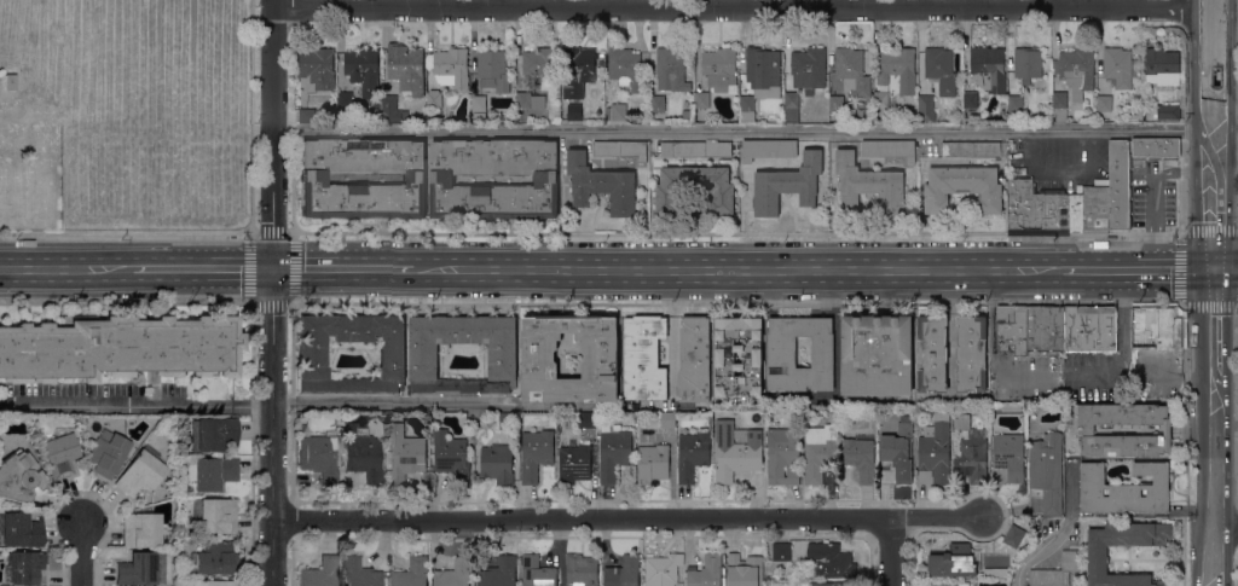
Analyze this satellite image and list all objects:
road: (1214, 2)
road: (742, 5)
road: (1214, 31)
building: (540, 62)
building: (1028, 63)
building: (578, 65)
building: (1118, 65)
building: (317, 66)
building: (624, 66)
building: (1161, 66)
building: (406, 68)
building: (452, 68)
building: (719, 68)
building: (988, 68)
building: (363, 69)
building: (671, 69)
building: (808, 69)
building: (492, 70)
building: (1076, 70)
building: (852, 71)
building: (939, 71)
building: (895, 74)
building: (760, 75)
road: (1214, 80)
building: (10, 82)
building: (434, 98)
building: (702, 99)
building: (970, 99)
building: (345, 100)
building: (530, 100)
road: (1226, 101)
building: (479, 103)
building: (658, 103)
building: (835, 103)
building: (1014, 103)
building: (1104, 103)
building: (792, 105)
building: (1059, 106)
building: (926, 108)
building: (391, 109)
building: (574, 111)
building: (615, 111)
building: (1168, 111)
building: (687, 115)
building: (307, 116)
road: (744, 130)
building: (1155, 147)
building: (621, 149)
building: (695, 149)
building: (768, 149)
building: (890, 149)
building: (971, 149)
parking lot: (1059, 163)
building: (361, 179)
building: (444, 179)
building: (788, 184)
building: (868, 184)
building: (1118, 184)
road: (1214, 184)
building: (601, 185)
building: (961, 187)
building: (1078, 187)
building: (695, 188)
parking lot: (1153, 191)
building: (1025, 204)
building: (1095, 207)
building: (1063, 210)
road: (735, 233)
road: (242, 234)
road: (1180, 267)
traffic signals: (1214, 267)
road: (1226, 267)
road: (66, 268)
road: (202, 268)
traffic signals: (273, 269)
road: (343, 269)
road: (814, 269)
road: (272, 292)
road: (177, 301)
road: (1105, 301)
road: (289, 302)
road: (430, 302)
road: (815, 302)
road: (1213, 319)
building: (1153, 326)
building: (1011, 327)
building: (1089, 327)
building: (1045, 329)
road: (1225, 336)
building: (117, 348)
building: (781, 350)
building: (932, 350)
building: (970, 350)
building: (875, 352)
building: (311, 353)
building: (600, 353)
building: (751, 354)
building: (643, 355)
building: (423, 358)
building: (694, 358)
road: (1144, 373)
road: (1226, 400)
road: (258, 405)
building: (1008, 408)
building: (588, 419)
building: (667, 419)
building: (507, 420)
building: (961, 422)
building: (1084, 429)
building: (213, 435)
building: (654, 436)
building: (736, 449)
building: (614, 451)
building: (935, 451)
building: (60, 452)
building: (820, 452)
building: (404, 453)
building: (536, 453)
building: (692, 453)
building: (106, 454)
building: (360, 454)
building: (1010, 454)
building: (783, 456)
building: (898, 456)
building: (452, 457)
building: (861, 457)
building: (318, 458)
building: (972, 459)
building: (497, 463)
building: (653, 463)
building: (574, 464)
building: (140, 474)
building: (210, 474)
building: (1046, 474)
building: (19, 478)
road: (1215, 478)
building: (1124, 489)
building: (186, 507)
building: (216, 516)
road: (631, 518)
road: (1227, 526)
building: (141, 529)
building: (19, 530)
building: (1013, 535)
road: (1039, 550)
building: (1098, 550)
building: (781, 551)
road: (891, 552)
road: (81, 553)
building: (214, 559)
building: (831, 559)
building: (953, 561)
building: (990, 562)
building: (24, 568)
building: (582, 569)
building: (663, 569)
building: (137, 570)
building: (745, 570)
building: (537, 572)
building: (623, 572)
building: (706, 572)
building: (1055, 572)
building: (360, 573)
building: (411, 573)
building: (455, 573)
building: (499, 573)
building: (996, 573)
building: (319, 574)
building: (210, 584)
building: (831, 584)
building: (947, 584)

